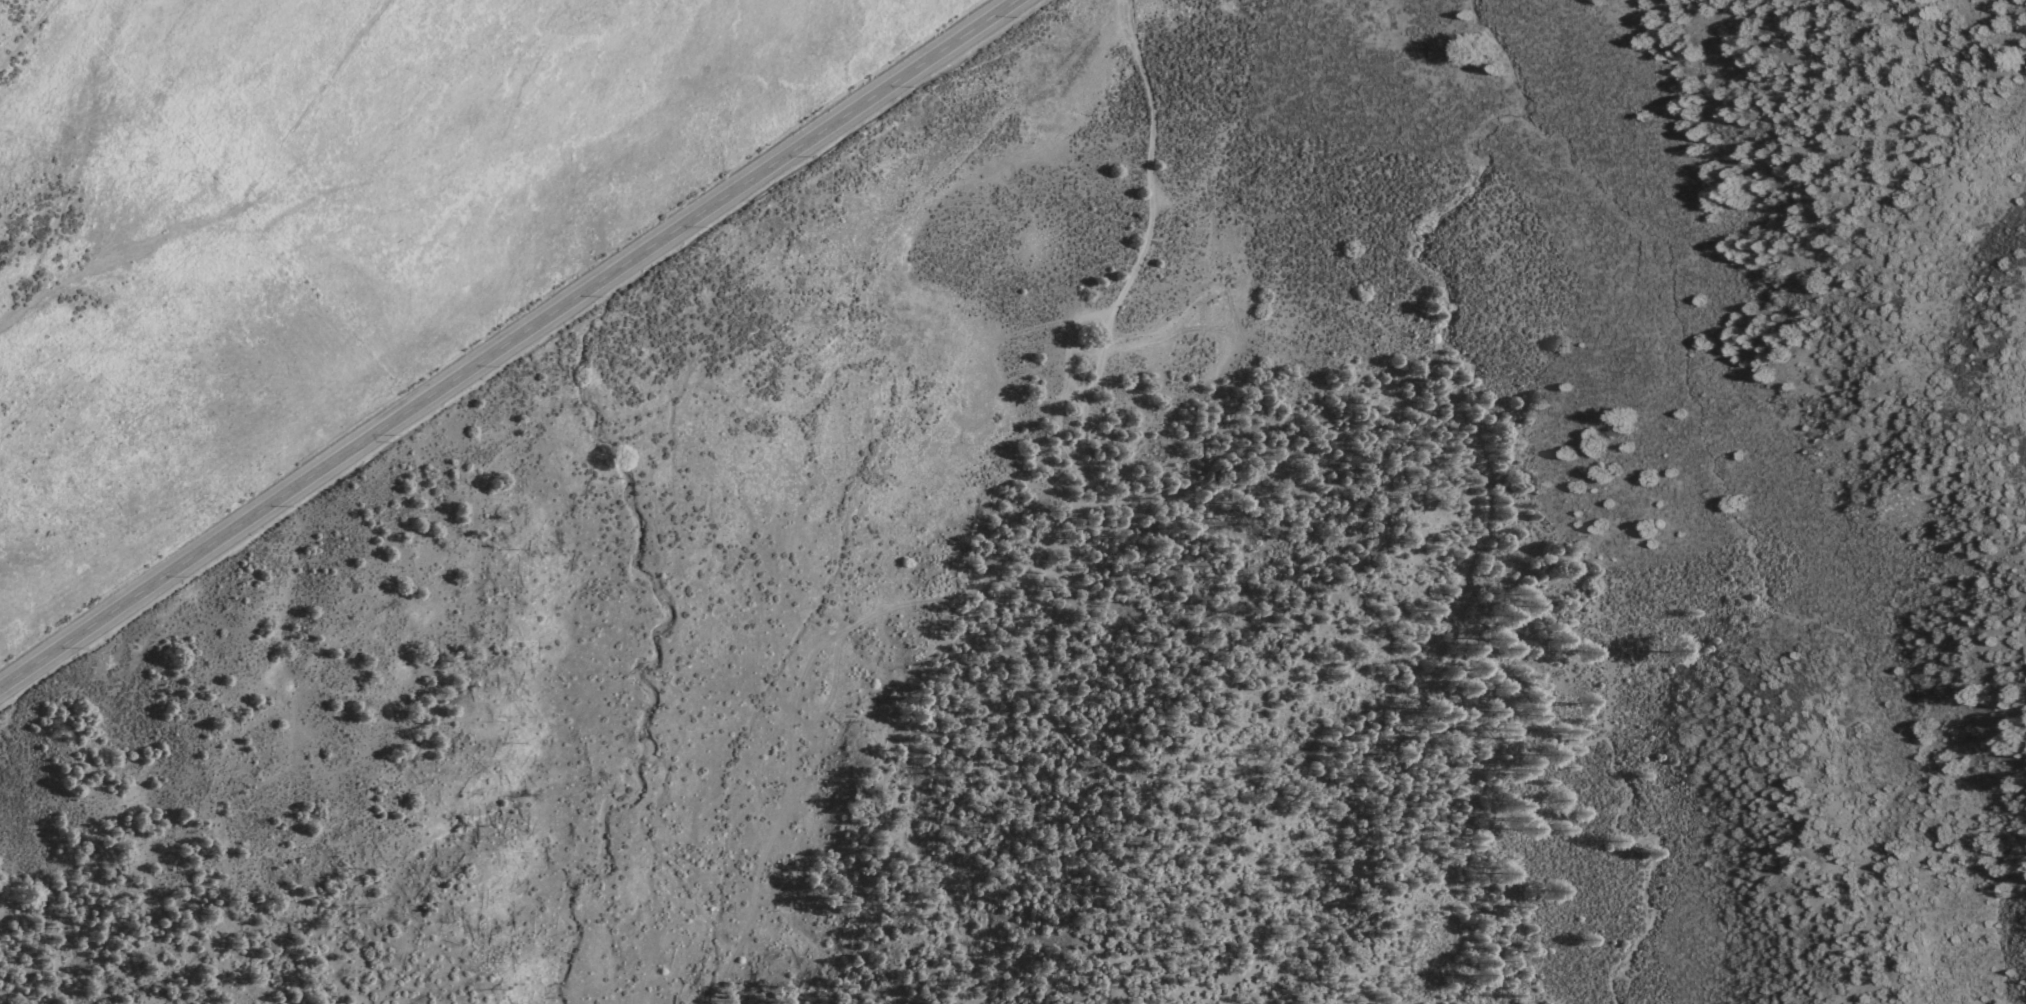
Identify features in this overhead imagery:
road: (33, 43)
road: (507, 342)
road: (1054, 532)

